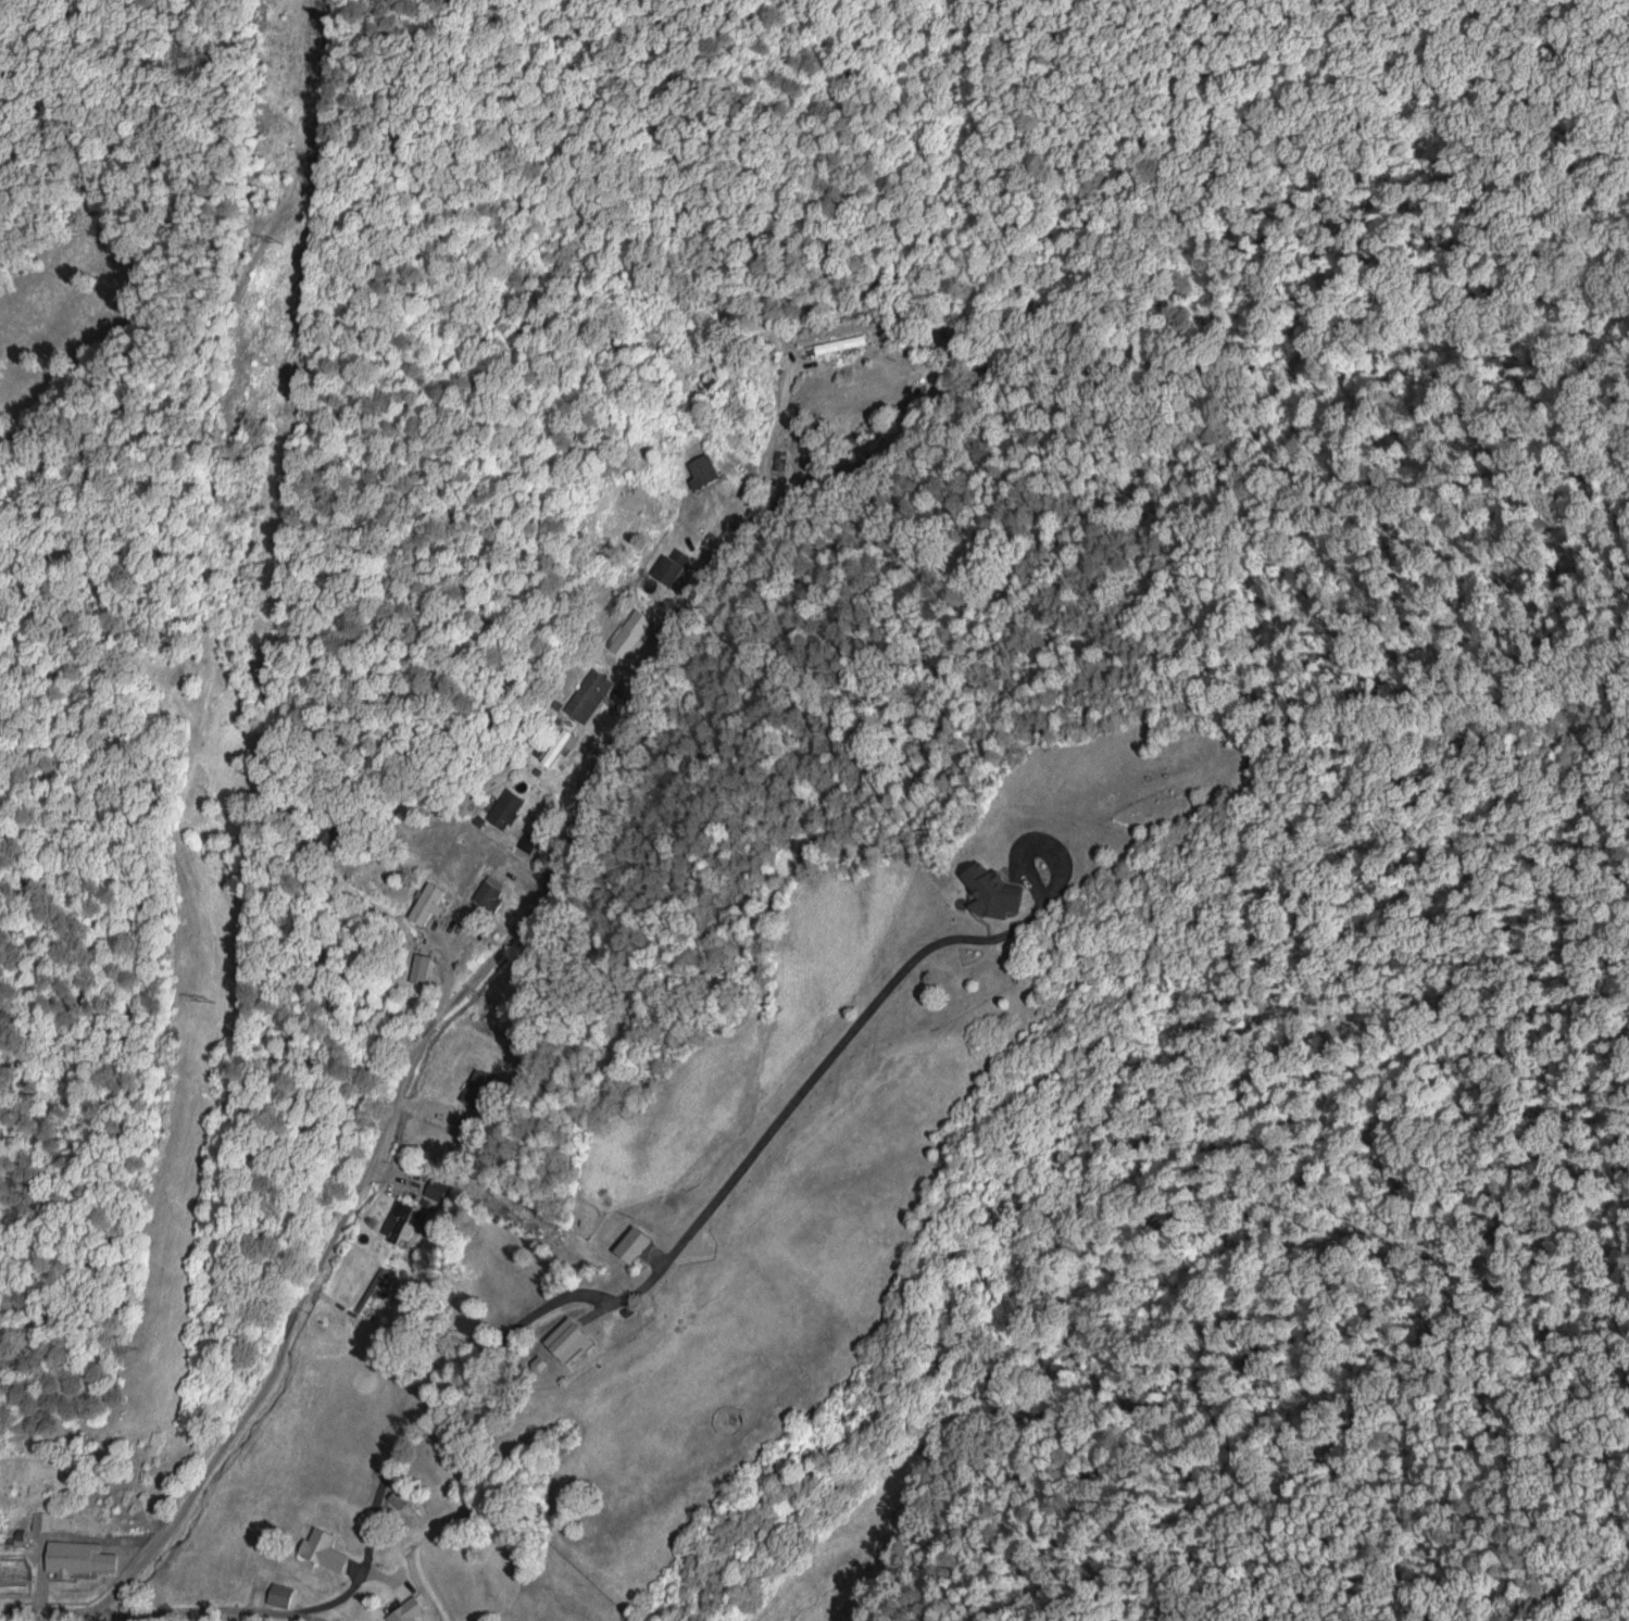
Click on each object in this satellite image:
power tower: (276, 246)
road: (855, 374)
building: (703, 472)
building: (673, 567)
building: (629, 632)
building: (587, 694)
building: (557, 744)
building: (504, 808)
building: (526, 842)
building: (991, 891)
building: (489, 892)
building: (427, 903)
building: (419, 968)
road: (413, 996)
power tower: (203, 1000)
building: (477, 1088)
road: (654, 1181)
building: (435, 1189)
building: (398, 1221)
building: (631, 1244)
building: (373, 1291)
building: (567, 1340)
building: (398, 1498)
building: (40, 1520)
building: (322, 1549)
building: (78, 1557)
building: (279, 1594)
building: (405, 1610)
road: (82, 1620)

